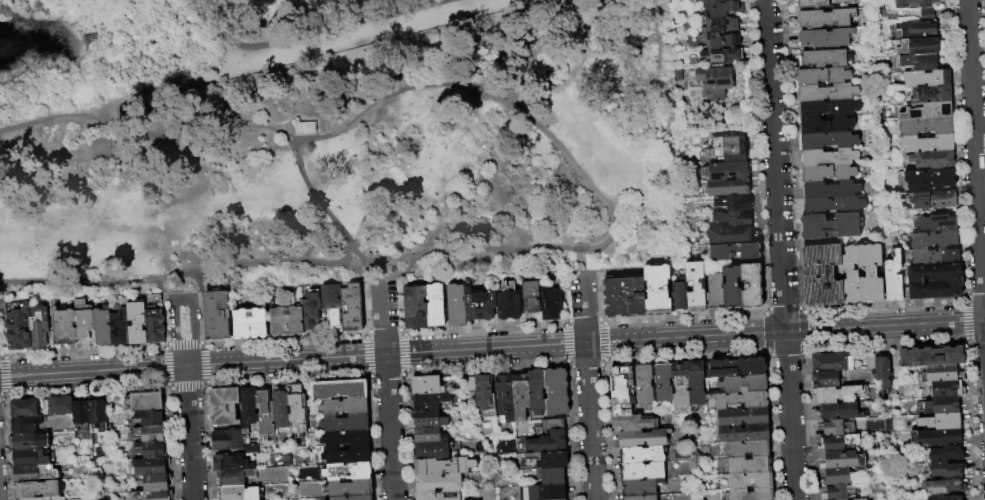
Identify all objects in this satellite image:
building: (716, 0)
building: (813, 4)
building: (907, 4)
building: (723, 8)
building: (927, 15)
building: (825, 18)
road: (353, 23)
building: (720, 25)
building: (916, 28)
road: (216, 32)
building: (825, 38)
building: (719, 42)
park: (181, 45)
building: (916, 47)
building: (722, 57)
building: (826, 58)
building: (922, 62)
building: (678, 76)
building: (823, 76)
building: (714, 78)
building: (927, 78)
building: (827, 92)
road: (495, 94)
building: (714, 95)
building: (931, 95)
road: (131, 98)
building: (828, 108)
building: (927, 111)
building: (826, 125)
building: (925, 127)
road: (272, 128)
building: (304, 128)
building: (828, 140)
road: (298, 141)
building: (927, 143)
park: (101, 148)
building: (727, 148)
road: (757, 154)
road: (791, 155)
building: (830, 157)
building: (932, 159)
park: (366, 165)
road: (975, 166)
building: (726, 171)
building: (828, 173)
building: (930, 179)
building: (726, 187)
building: (831, 190)
building: (931, 200)
building: (733, 203)
building: (834, 205)
building: (731, 219)
building: (935, 223)
building: (830, 226)
building: (729, 235)
building: (934, 240)
road: (780, 249)
road: (461, 251)
building: (735, 252)
building: (935, 257)
road: (572, 271)
road: (588, 271)
road: (181, 273)
road: (359, 274)
building: (850, 274)
building: (870, 274)
building: (822, 275)
building: (894, 278)
road: (198, 281)
building: (935, 282)
road: (388, 283)
road: (157, 285)
building: (751, 286)
building: (695, 287)
building: (731, 287)
building: (657, 290)
road: (11, 293)
building: (714, 293)
building: (679, 295)
road: (564, 296)
road: (597, 296)
building: (624, 296)
building: (531, 297)
road: (964, 297)
road: (976, 297)
road: (181, 302)
building: (509, 302)
building: (332, 304)
building: (550, 304)
road: (884, 304)
building: (435, 305)
building: (456, 305)
building: (479, 305)
road: (398, 306)
building: (415, 307)
road: (583, 307)
building: (353, 308)
road: (364, 308)
road: (783, 308)
building: (311, 309)
road: (765, 309)
road: (802, 310)
building: (217, 315)
road: (683, 316)
road: (200, 317)
road: (164, 318)
building: (84, 319)
building: (286, 320)
road: (582, 320)
road: (601, 320)
road: (565, 321)
road: (963, 321)
building: (137, 323)
building: (251, 324)
building: (40, 326)
building: (103, 326)
building: (155, 326)
building: (65, 327)
road: (483, 327)
building: (20, 328)
building: (120, 328)
road: (1, 330)
road: (382, 331)
road: (364, 332)
road: (401, 332)
road: (284, 339)
road: (183, 343)
road: (966, 343)
road: (977, 343)
road: (203, 344)
road: (164, 345)
road: (492, 349)
road: (83, 351)
road: (3, 356)
building: (932, 356)
building: (870, 360)
building: (832, 362)
building: (737, 368)
building: (883, 371)
building: (942, 373)
building: (825, 379)
building: (663, 382)
building: (643, 383)
building: (697, 383)
building: (469, 384)
building: (743, 384)
building: (679, 385)
building: (426, 386)
building: (943, 389)
building: (339, 390)
building: (621, 391)
road: (387, 392)
building: (537, 392)
building: (556, 392)
building: (836, 395)
building: (520, 396)
building: (484, 397)
building: (505, 397)
building: (144, 401)
building: (429, 401)
building: (739, 401)
building: (60, 405)
building: (942, 405)
building: (224, 406)
building: (248, 407)
building: (344, 407)
building: (25, 409)
building: (280, 410)
building: (296, 411)
building: (840, 411)
building: (264, 414)
building: (81, 416)
building: (97, 416)
building: (743, 417)
building: (150, 418)
building: (428, 419)
road: (589, 421)
building: (941, 421)
building: (633, 423)
building: (345, 424)
building: (25, 425)
building: (837, 427)
road: (189, 433)
building: (743, 433)
building: (146, 435)
building: (429, 435)
building: (935, 437)
building: (549, 438)
building: (346, 439)
building: (643, 439)
building: (231, 441)
building: (26, 442)
building: (839, 442)
building: (747, 448)
building: (436, 450)
building: (148, 451)
building: (942, 454)
building: (642, 455)
building: (347, 456)
building: (32, 458)
building: (544, 460)
building: (841, 460)
building: (862, 461)
building: (231, 463)
building: (749, 465)
building: (443, 466)
building: (149, 467)
building: (943, 469)
building: (348, 471)
building: (641, 471)
building: (38, 472)
building: (551, 476)
building: (836, 476)
building: (235, 478)
building: (750, 481)
building: (155, 482)
building: (438, 483)
building: (946, 486)
building: (640, 487)
building: (349, 488)
building: (38, 489)
building: (840, 491)
building: (542, 492)
building: (240, 494)
building: (151, 495)
building: (438, 495)
building: (752, 495)
building: (641, 497)
building: (946, 497)
building: (44, 498)
building: (353, 498)
building: (860, 499)

